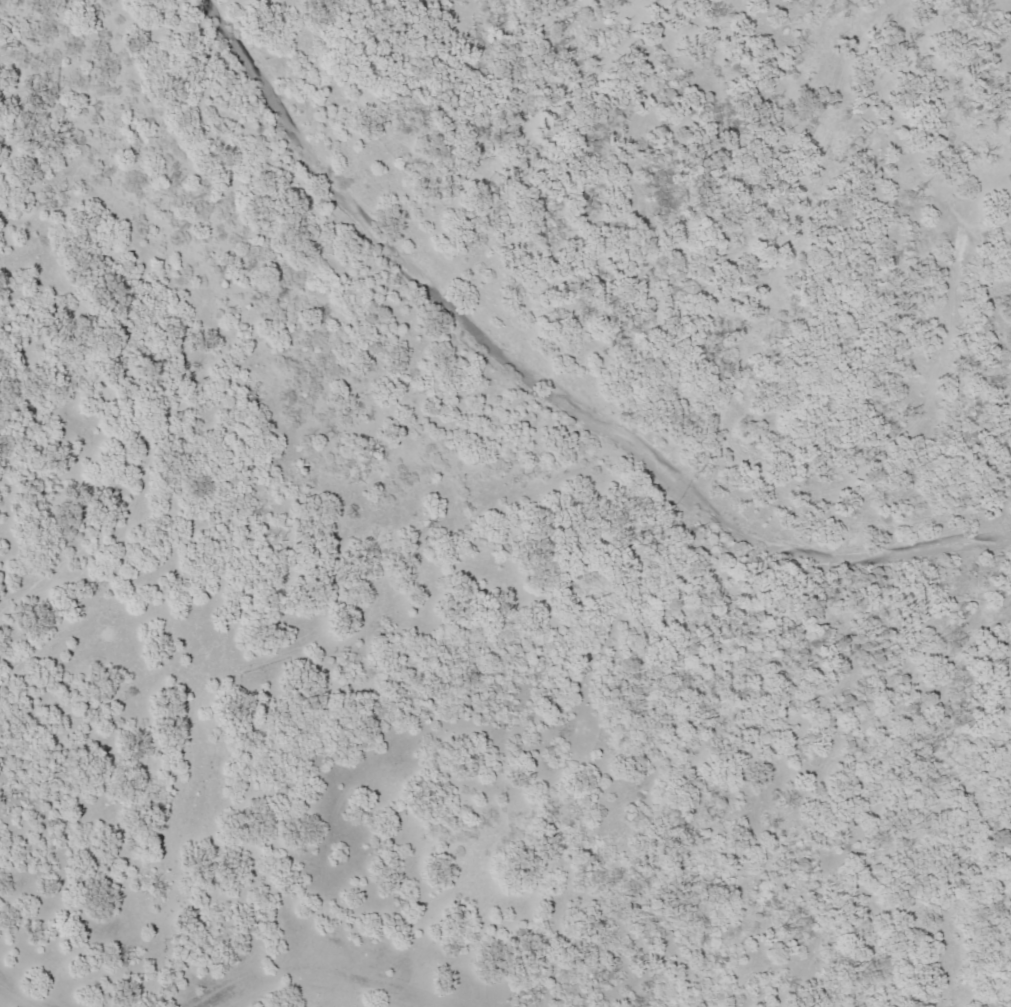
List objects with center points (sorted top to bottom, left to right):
road: (316, 971)
road: (21, 992)

